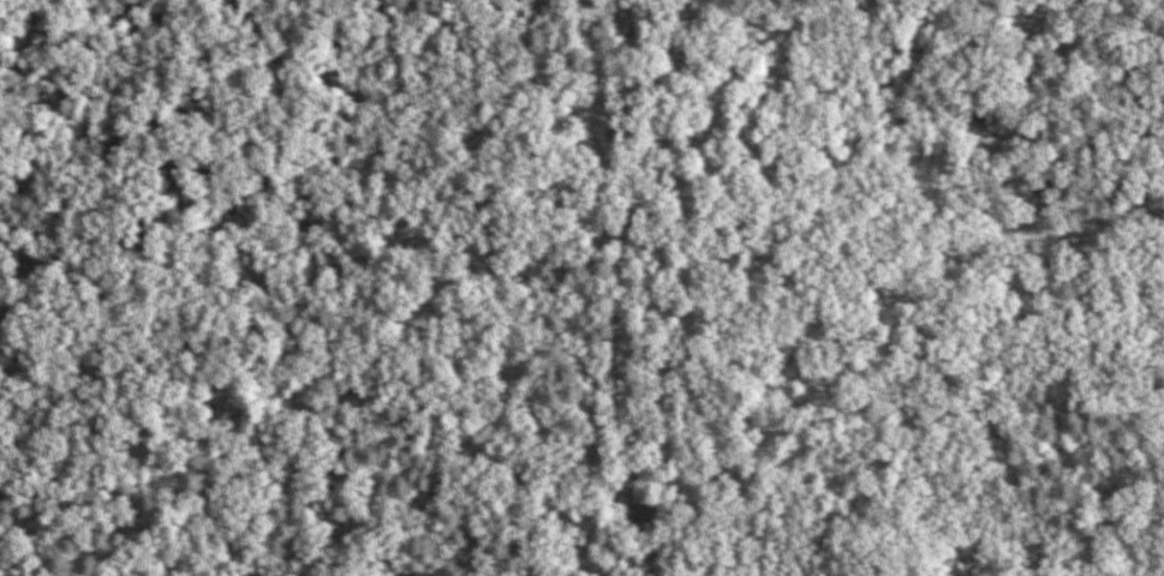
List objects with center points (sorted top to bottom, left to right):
road: (1068, 234)
road: (620, 286)

